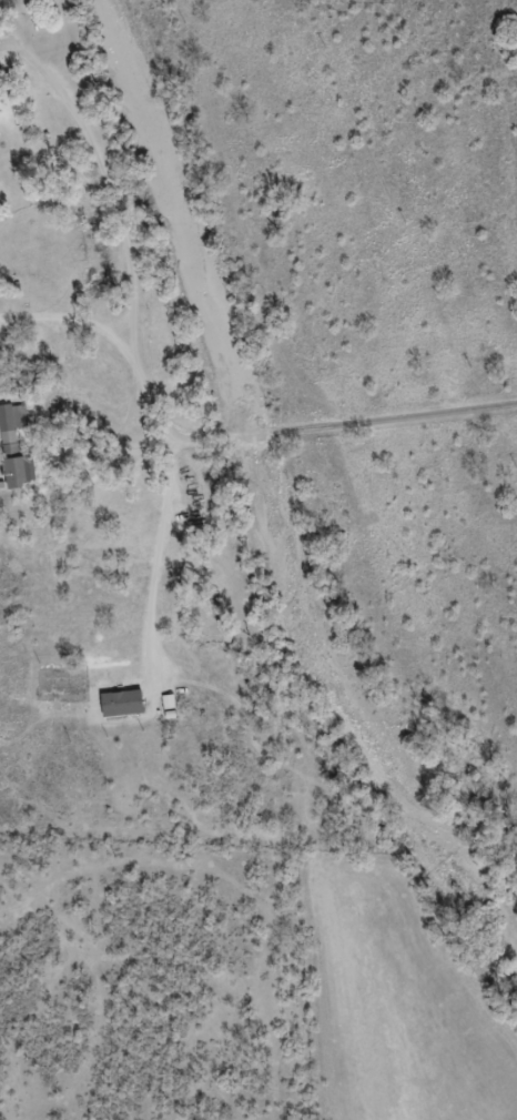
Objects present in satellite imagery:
building: (1, 94)
building: (16, 450)
road: (160, 457)
road: (235, 460)

